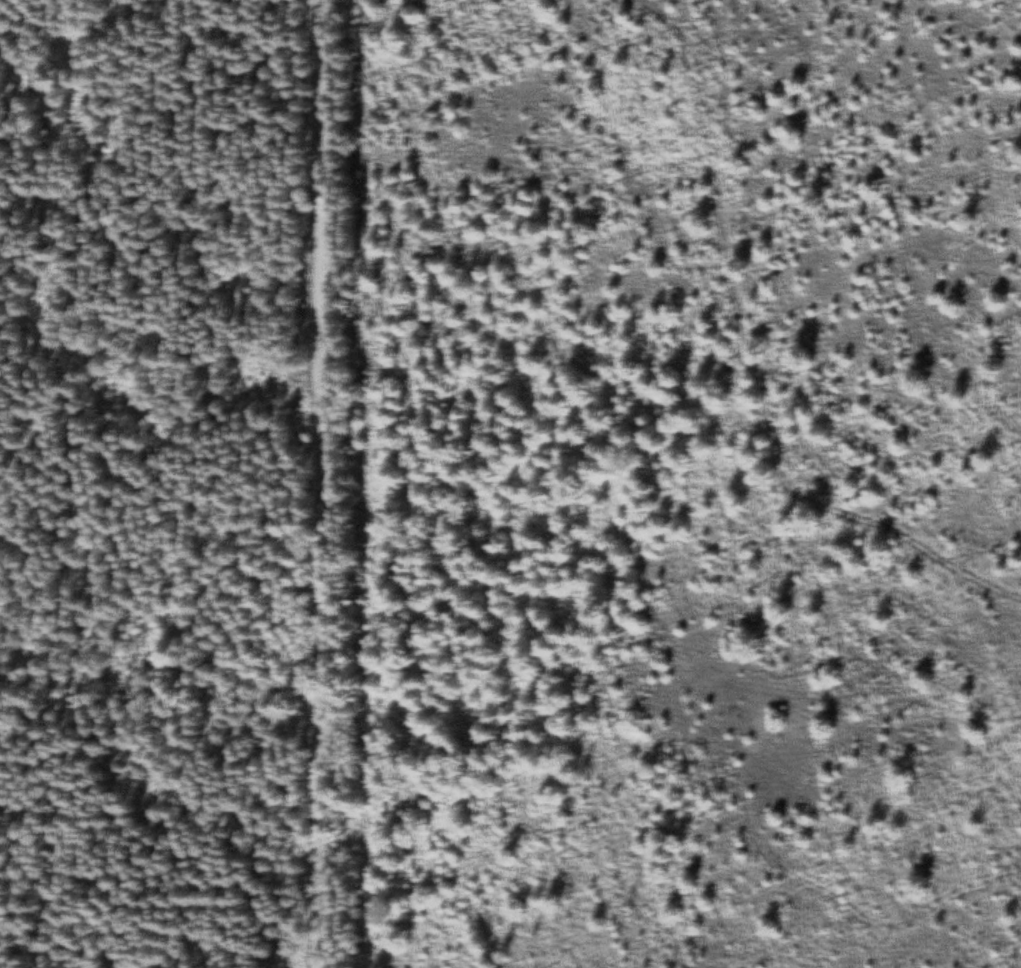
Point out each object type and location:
road: (332, 483)

